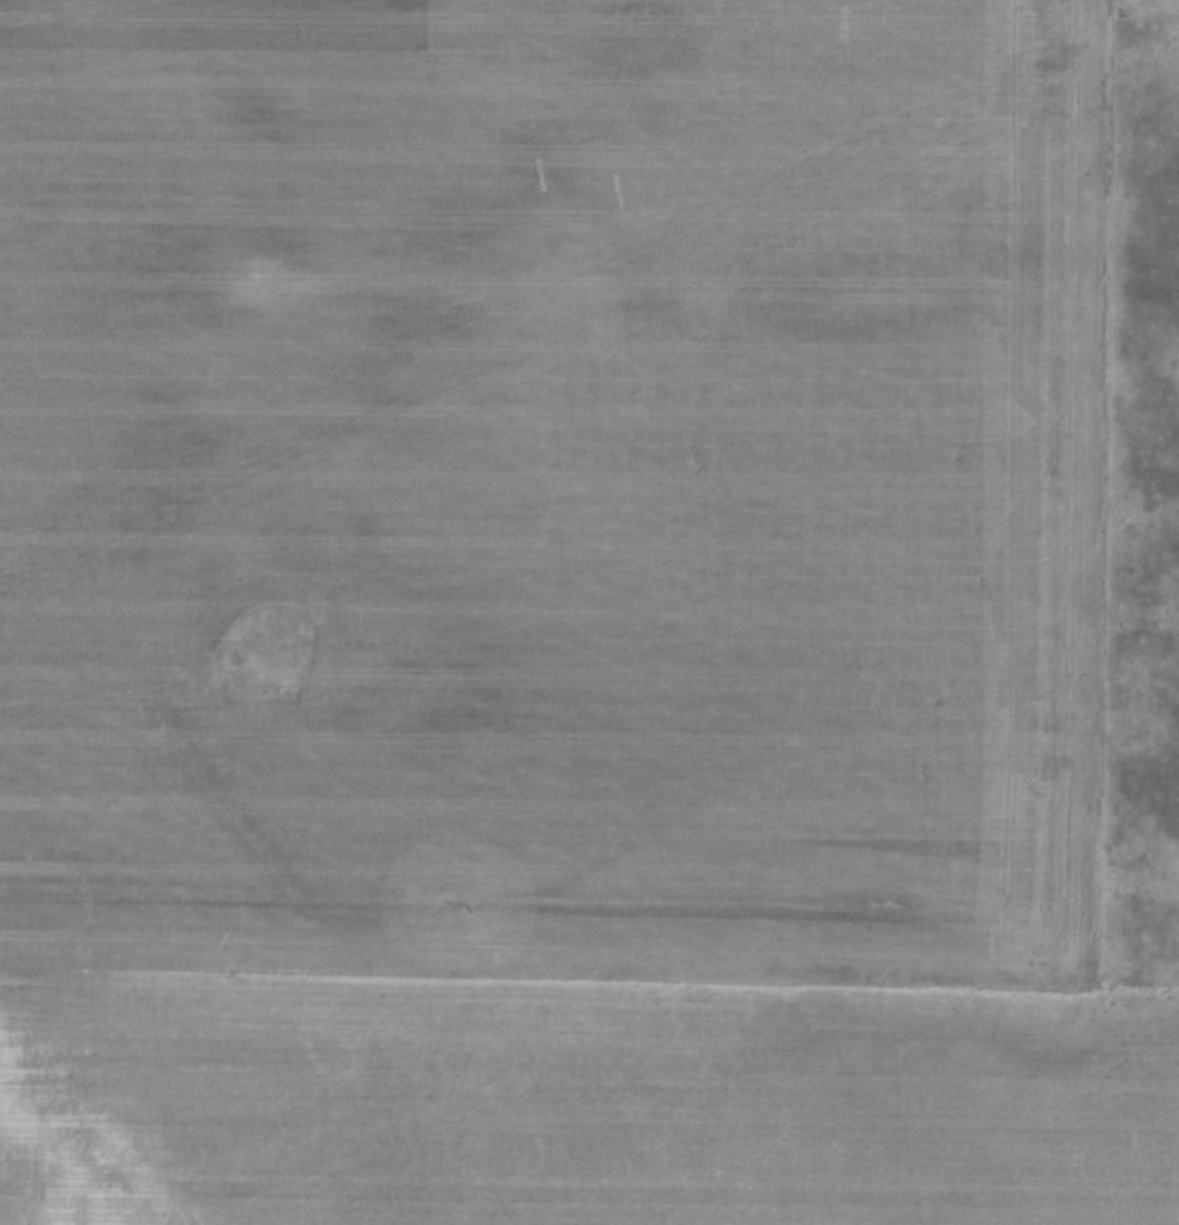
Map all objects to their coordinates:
crop: (561, 617)

